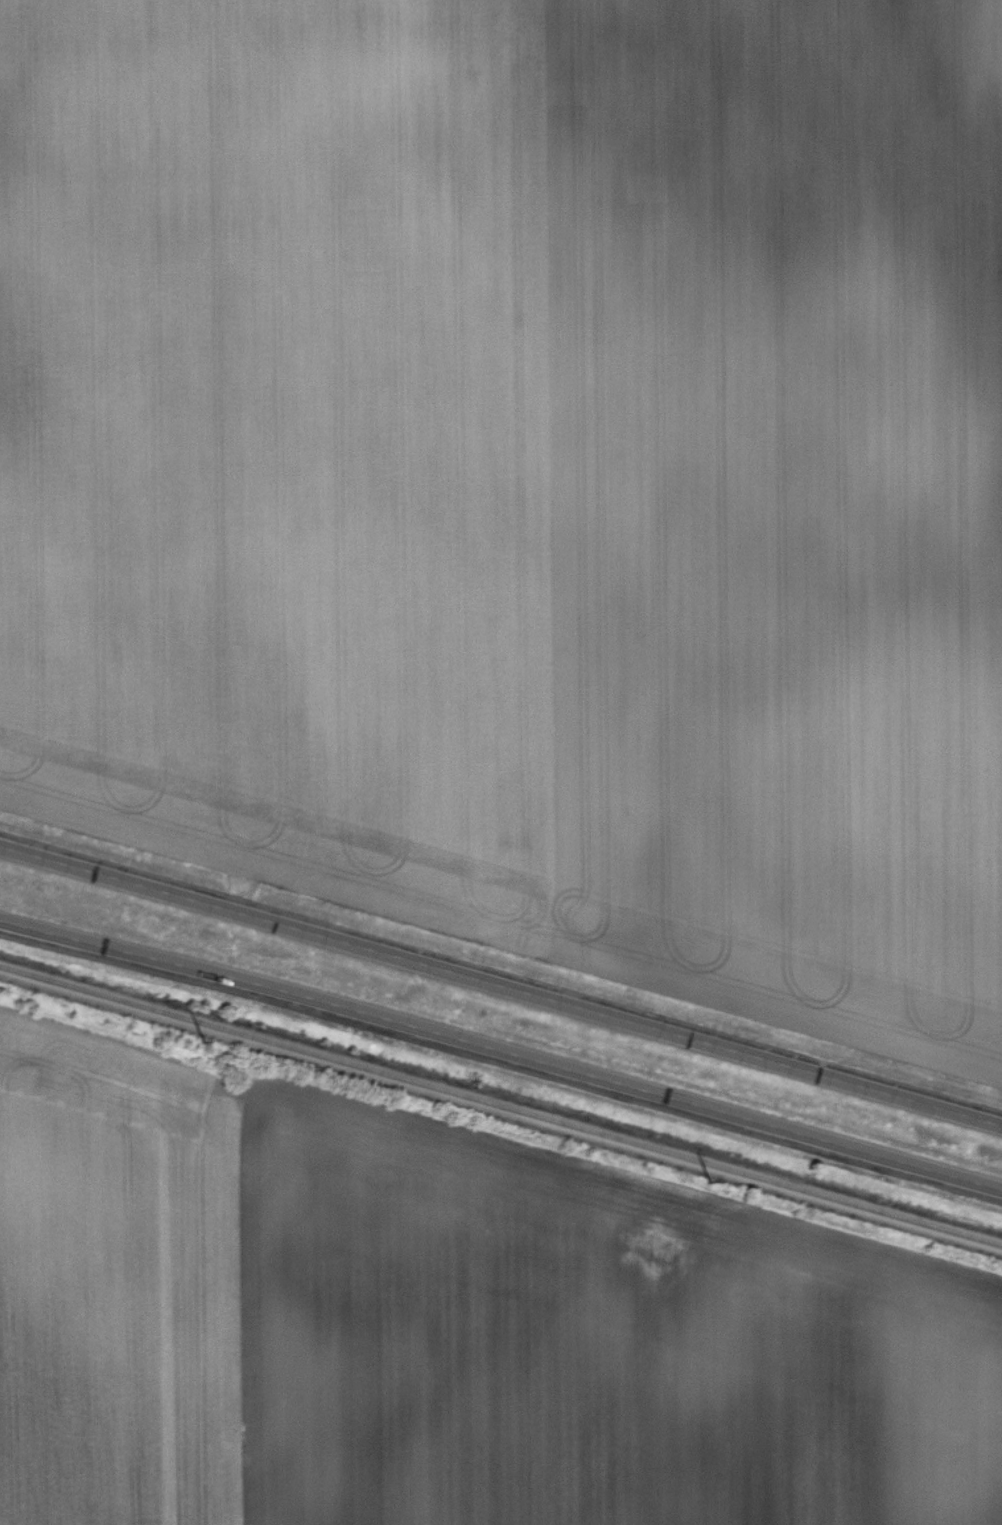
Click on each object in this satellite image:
road: (500, 985)
power tower: (202, 1043)
road: (501, 1048)
railway: (501, 1130)
power tower: (710, 1182)

